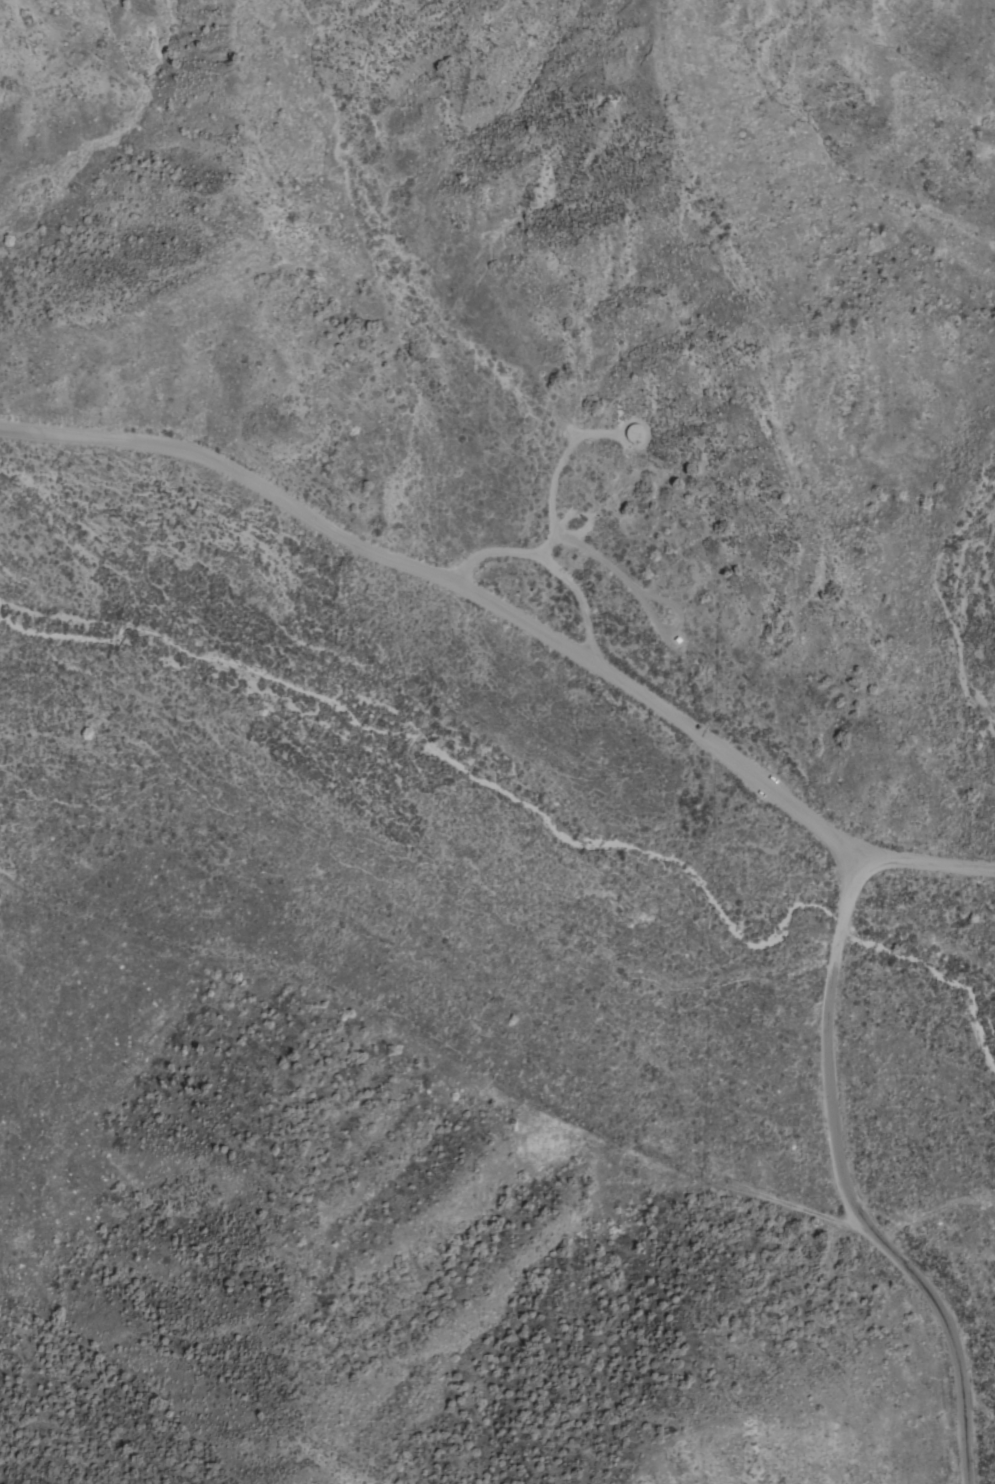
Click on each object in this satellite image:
building: (635, 433)
road: (598, 558)
road: (548, 563)
road: (458, 585)
road: (875, 859)
road: (882, 1233)

